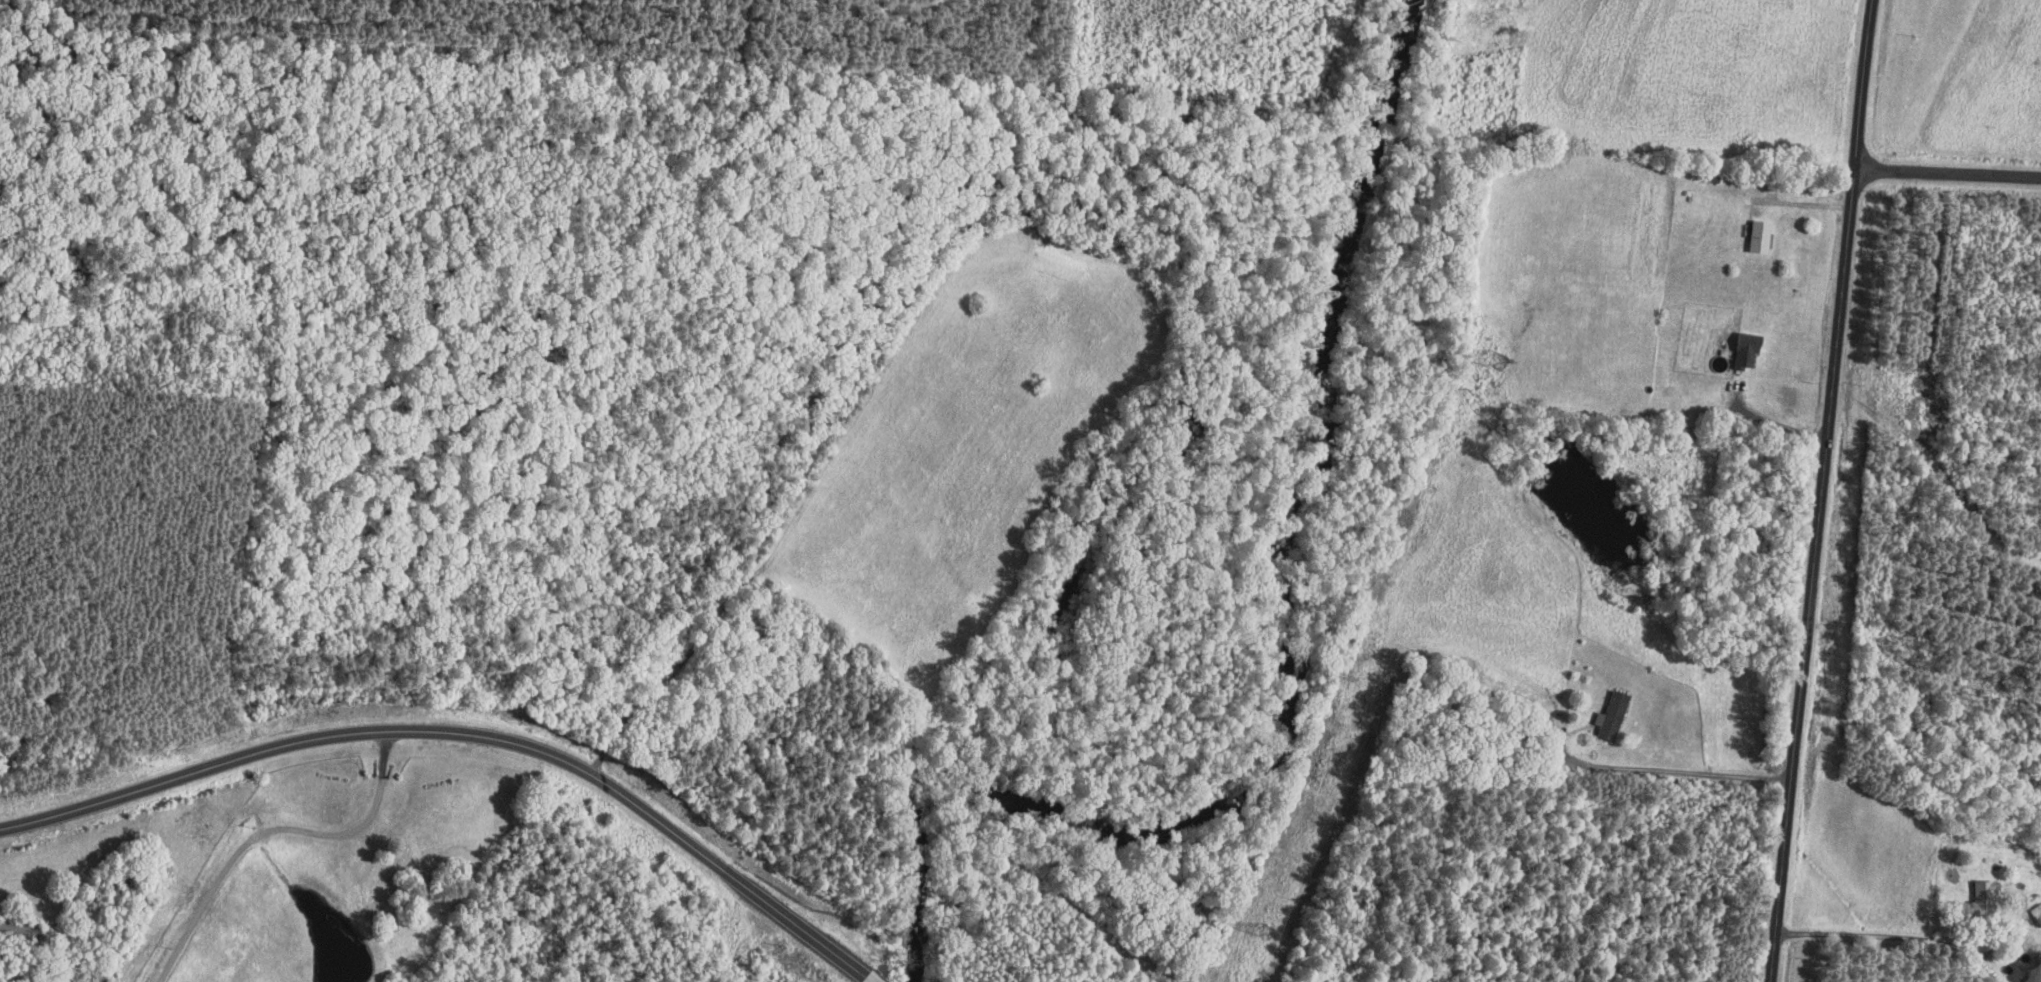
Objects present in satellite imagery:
road: (1947, 172)
building: (1761, 236)
building: (1748, 348)
power tower: (1501, 368)
road: (1774, 423)
road: (1820, 490)
building: (1612, 715)
road: (466, 733)
road: (1676, 771)
road: (271, 830)
building: (1985, 897)
building: (2037, 913)
road: (1880, 935)
power tower: (1269, 944)

